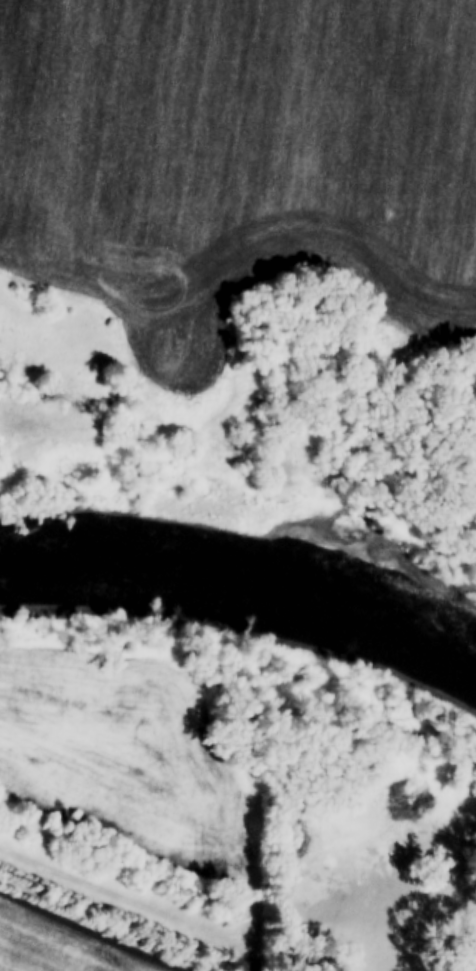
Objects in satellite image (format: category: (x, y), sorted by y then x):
crop: (238, 166)
river: (242, 574)
crop: (122, 755)
crop: (67, 942)

